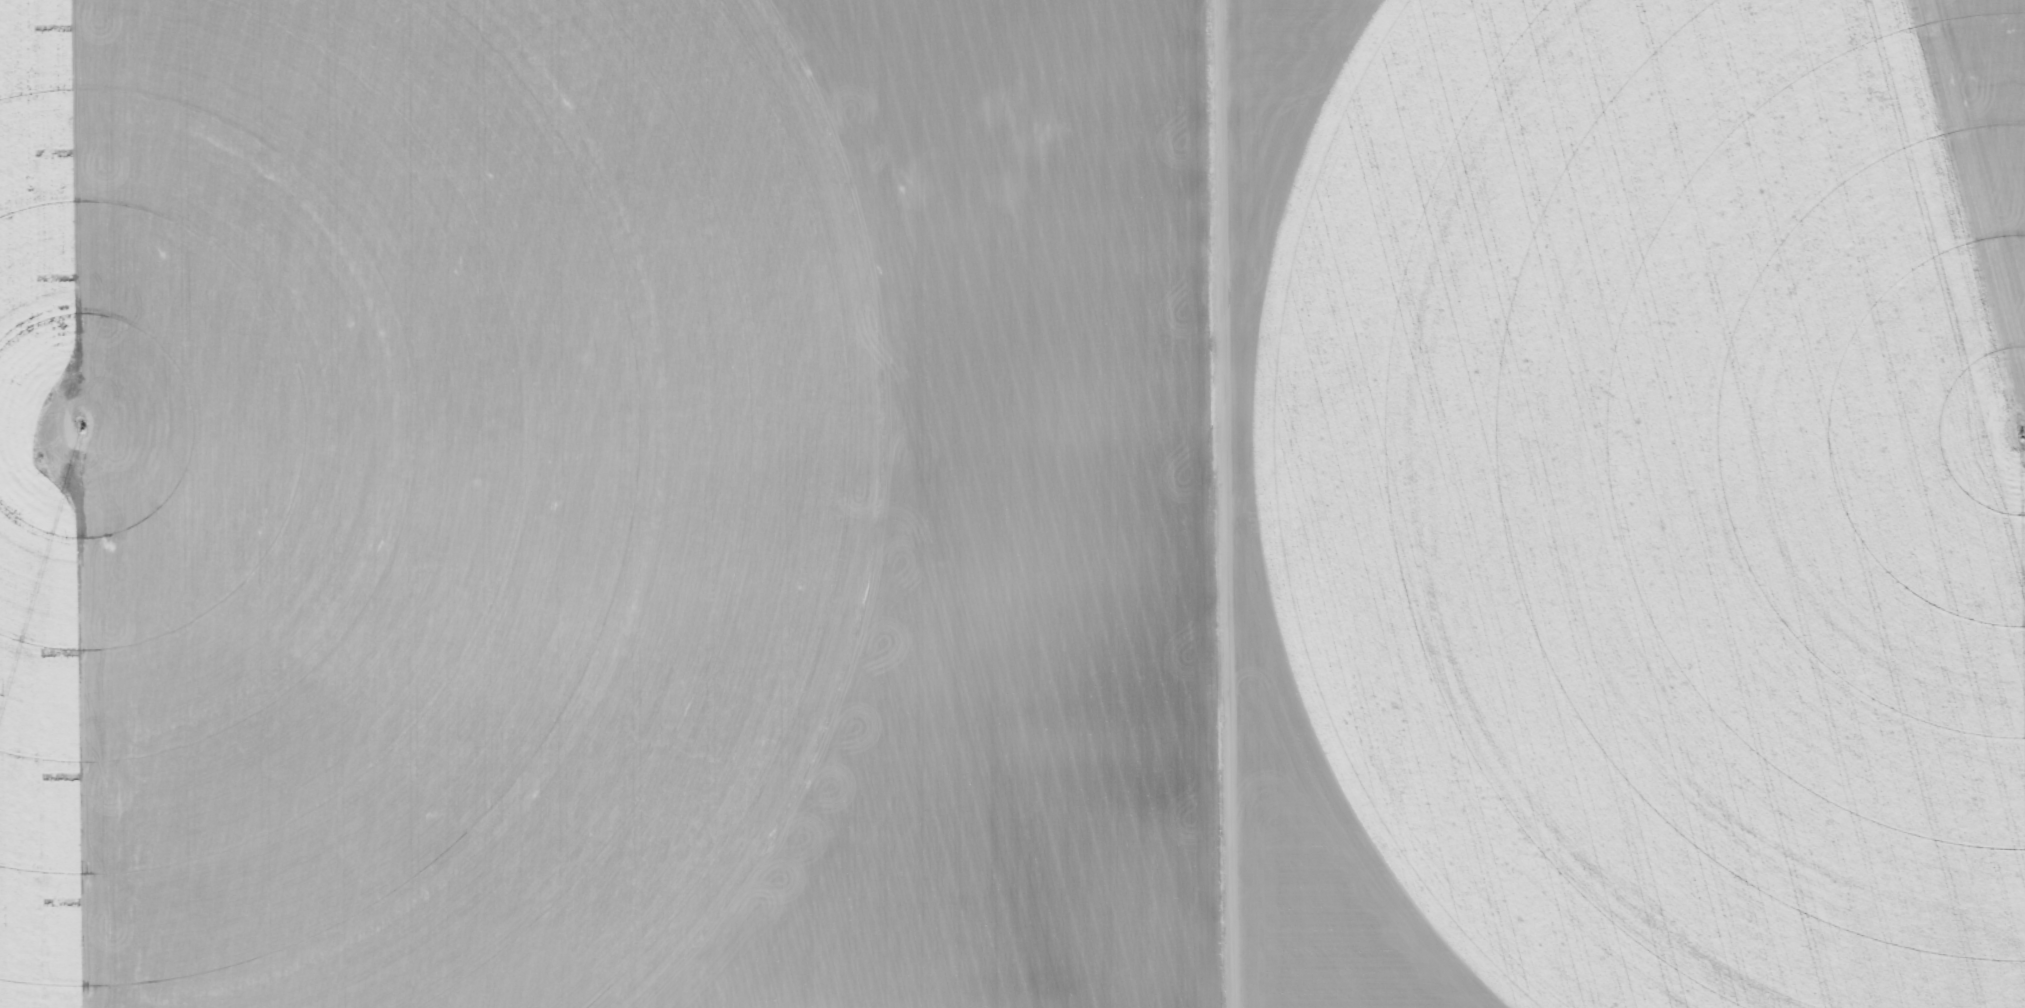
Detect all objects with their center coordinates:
road: (1206, 504)
road: (23, 735)

